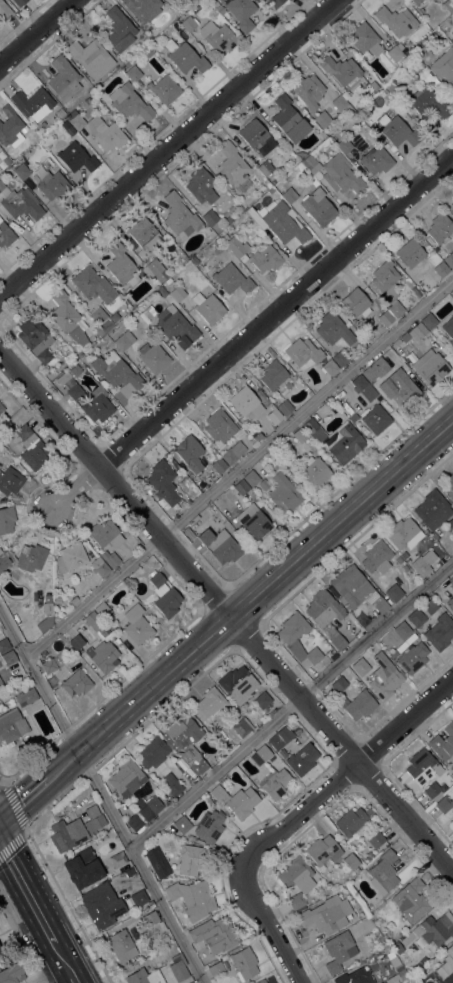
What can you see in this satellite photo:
building: (169, 0)
building: (19, 2)
building: (275, 2)
building: (417, 3)
building: (448, 5)
building: (143, 9)
building: (5, 10)
building: (241, 12)
building: (396, 20)
building: (189, 23)
building: (119, 29)
road: (36, 31)
building: (218, 36)
building: (364, 39)
building: (395, 54)
building: (91, 57)
building: (185, 57)
building: (444, 65)
building: (340, 69)
building: (133, 73)
building: (63, 78)
building: (391, 86)
building: (164, 89)
building: (308, 90)
building: (452, 93)
building: (88, 100)
building: (129, 102)
building: (429, 102)
building: (33, 103)
building: (340, 104)
building: (60, 112)
building: (322, 118)
building: (289, 119)
building: (11, 127)
building: (68, 127)
building: (98, 130)
building: (397, 130)
building: (256, 137)
building: (344, 145)
road: (168, 150)
building: (77, 158)
building: (376, 160)
building: (232, 165)
building: (300, 166)
building: (265, 167)
building: (9, 171)
building: (22, 171)
building: (336, 173)
building: (314, 183)
building: (1, 185)
building: (53, 185)
building: (201, 185)
building: (271, 190)
building: (289, 195)
building: (21, 203)
building: (452, 203)
building: (318, 207)
building: (180, 216)
building: (210, 216)
building: (229, 219)
building: (279, 221)
building: (440, 227)
building: (209, 230)
building: (5, 234)
building: (144, 234)
building: (225, 237)
building: (237, 248)
building: (410, 253)
building: (183, 259)
building: (265, 259)
building: (449, 259)
building: (195, 260)
building: (121, 265)
building: (441, 269)
building: (156, 270)
building: (383, 276)
building: (231, 278)
building: (168, 280)
building: (93, 284)
building: (161, 291)
building: (178, 293)
building: (356, 303)
building: (208, 307)
building: (395, 309)
building: (114, 316)
building: (68, 317)
building: (386, 318)
building: (102, 319)
building: (429, 321)
building: (176, 327)
building: (449, 329)
building: (334, 330)
building: (100, 331)
building: (417, 331)
road: (252, 332)
building: (404, 336)
building: (35, 338)
building: (124, 340)
building: (303, 353)
building: (152, 357)
building: (83, 358)
building: (341, 358)
building: (330, 367)
building: (430, 367)
building: (117, 373)
building: (273, 374)
building: (371, 374)
building: (70, 386)
building: (363, 388)
building: (403, 390)
building: (246, 401)
building: (97, 405)
building: (284, 407)
building: (1, 408)
building: (274, 416)
building: (354, 417)
building: (376, 419)
building: (310, 425)
building: (219, 426)
building: (300, 434)
building: (259, 436)
building: (343, 442)
building: (31, 447)
building: (189, 453)
building: (233, 453)
building: (219, 465)
road: (238, 466)
building: (315, 471)
building: (251, 478)
building: (10, 481)
building: (163, 481)
building: (263, 483)
building: (449, 485)
building: (241, 487)
building: (284, 493)
building: (433, 509)
building: (195, 518)
building: (7, 520)
building: (254, 521)
building: (450, 522)
building: (189, 532)
building: (403, 533)
building: (105, 534)
building: (434, 535)
building: (220, 545)
building: (0, 550)
building: (404, 555)
building: (31, 557)
building: (377, 557)
building: (70, 558)
building: (110, 558)
building: (423, 562)
building: (2, 565)
building: (99, 567)
building: (451, 580)
building: (357, 592)
building: (394, 592)
building: (164, 595)
building: (131, 598)
road: (250, 599)
building: (74, 600)
building: (450, 603)
building: (430, 606)
building: (47, 607)
building: (324, 608)
building: (102, 610)
road: (226, 613)
building: (416, 617)
building: (93, 621)
building: (136, 624)
building: (402, 629)
building: (440, 632)
building: (111, 634)
building: (288, 636)
building: (337, 641)
building: (76, 642)
building: (4, 645)
building: (392, 653)
building: (103, 655)
building: (413, 657)
building: (9, 658)
building: (49, 665)
building: (361, 667)
building: (384, 677)
building: (1, 682)
building: (76, 683)
building: (237, 684)
building: (338, 684)
building: (1, 688)
building: (26, 697)
building: (262, 700)
building: (209, 703)
road: (290, 703)
building: (359, 705)
road: (405, 721)
building: (12, 725)
building: (242, 727)
building: (182, 733)
building: (218, 737)
building: (280, 737)
building: (443, 743)
building: (153, 752)
building: (263, 752)
building: (302, 759)
building: (198, 765)
building: (418, 769)
building: (126, 778)
building: (274, 783)
building: (171, 784)
building: (431, 789)
building: (218, 793)
road: (102, 796)
road: (23, 798)
building: (241, 802)
building: (444, 804)
building: (148, 807)
building: (452, 811)
building: (93, 820)
building: (353, 821)
building: (134, 822)
building: (182, 824)
building: (209, 826)
building: (67, 834)
building: (191, 837)
building: (376, 840)
building: (323, 850)
road: (250, 856)
building: (118, 859)
building: (190, 859)
building: (351, 862)
building: (158, 864)
building: (82, 868)
building: (384, 870)
building: (129, 872)
building: (296, 874)
road: (26, 892)
building: (139, 897)
building: (192, 899)
building: (410, 900)
building: (297, 901)
building: (102, 905)
building: (326, 914)
building: (150, 918)
building: (383, 925)
building: (432, 929)
building: (214, 935)
building: (120, 945)
building: (397, 947)
building: (338, 950)
building: (1, 953)
building: (449, 955)
road: (62, 963)
building: (244, 963)
building: (396, 964)
building: (216, 969)
building: (178, 970)
building: (12, 973)
road: (48, 974)
building: (402, 974)
building: (144, 976)
building: (354, 977)
building: (261, 981)
building: (410, 981)

